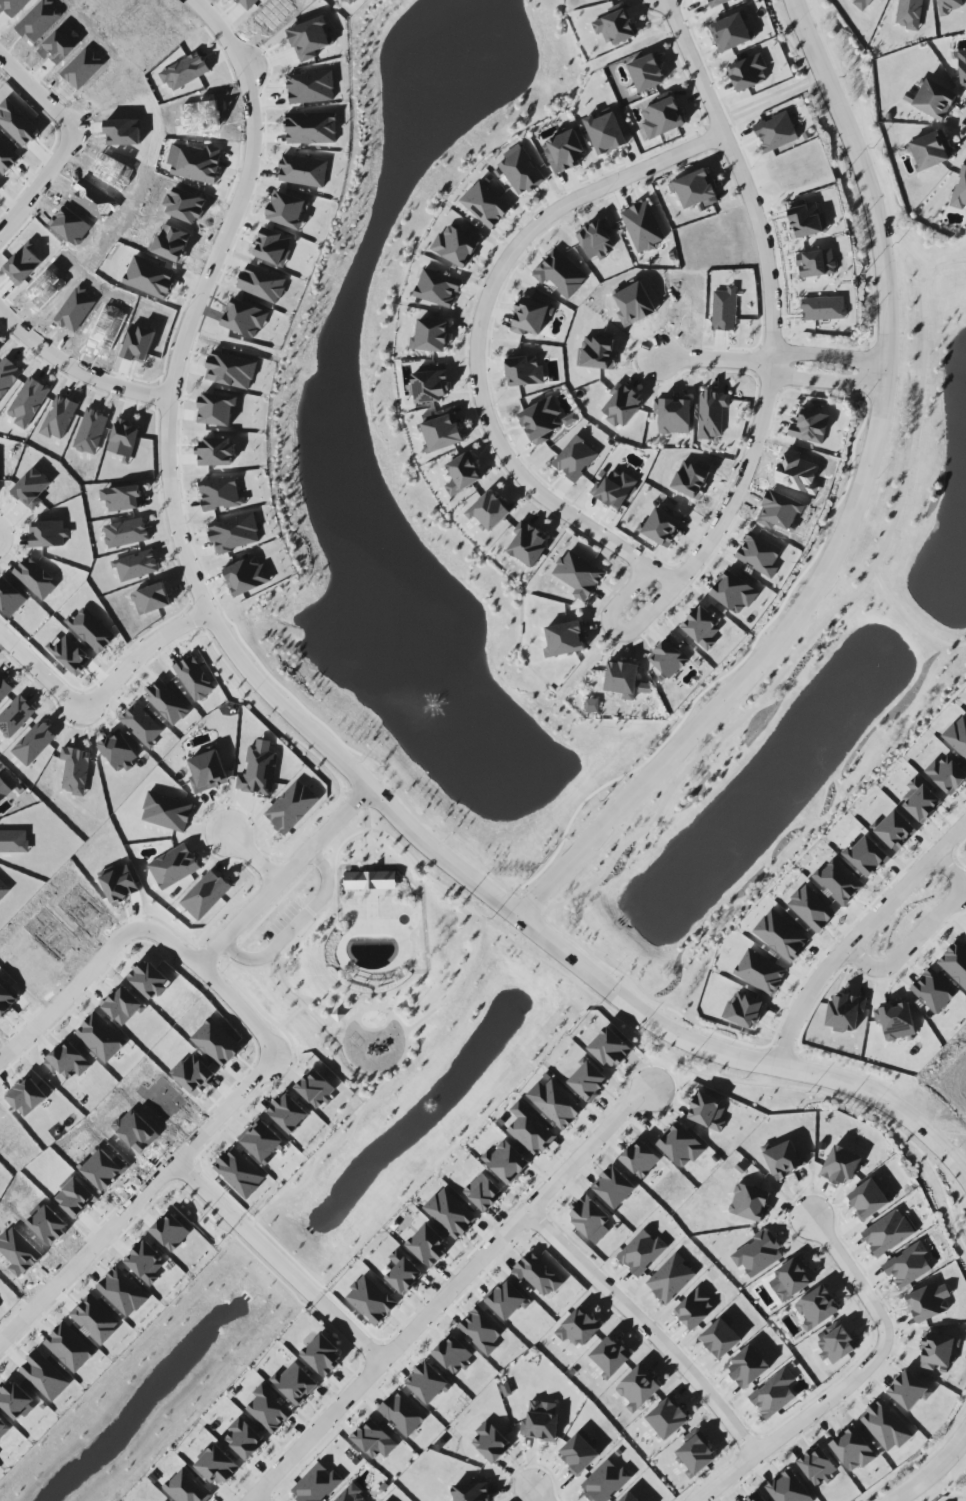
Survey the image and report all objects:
building: (717, 2)
building: (862, 4)
building: (949, 6)
building: (909, 13)
building: (616, 26)
building: (731, 32)
building: (311, 38)
building: (962, 67)
building: (185, 72)
building: (647, 72)
building: (748, 73)
building: (311, 87)
building: (932, 100)
building: (662, 117)
building: (17, 124)
building: (311, 128)
building: (776, 132)
building: (605, 133)
road: (866, 136)
road: (71, 144)
building: (930, 150)
building: (564, 151)
building: (7, 157)
building: (197, 164)
building: (303, 171)
building: (521, 171)
building: (695, 189)
building: (960, 190)
road: (244, 198)
building: (485, 204)
building: (807, 221)
building: (643, 227)
building: (596, 239)
building: (456, 245)
building: (816, 263)
building: (24, 264)
building: (560, 274)
building: (437, 288)
building: (724, 310)
building: (531, 316)
building: (245, 318)
building: (430, 336)
road: (477, 337)
road: (827, 358)
road: (712, 361)
building: (231, 370)
building: (524, 371)
road: (769, 374)
building: (8, 376)
building: (430, 384)
road: (823, 384)
building: (28, 402)
building: (217, 408)
road: (919, 408)
road: (168, 411)
building: (712, 414)
building: (673, 416)
building: (59, 418)
building: (541, 421)
building: (810, 427)
building: (442, 431)
building: (91, 432)
building: (123, 440)
building: (216, 452)
building: (575, 459)
building: (463, 474)
building: (32, 488)
building: (615, 489)
building: (220, 494)
building: (122, 498)
building: (490, 511)
road: (854, 511)
building: (663, 526)
building: (126, 533)
building: (234, 533)
building: (528, 545)
building: (759, 555)
building: (136, 566)
building: (578, 575)
building: (247, 576)
building: (35, 579)
building: (734, 592)
building: (10, 598)
building: (151, 599)
road: (909, 619)
building: (702, 627)
building: (91, 630)
building: (70, 655)
building: (668, 658)
building: (193, 679)
building: (622, 679)
building: (4, 689)
building: (167, 703)
park: (810, 704)
building: (15, 717)
building: (142, 725)
building: (957, 736)
building: (34, 743)
building: (119, 753)
building: (75, 770)
building: (259, 771)
building: (207, 772)
building: (946, 774)
road: (371, 789)
building: (3, 792)
building: (921, 800)
building: (167, 812)
road: (373, 830)
building: (896, 831)
road: (368, 833)
building: (13, 842)
road: (619, 853)
building: (867, 856)
road: (254, 857)
building: (174, 867)
building: (370, 880)
building: (839, 882)
building: (3, 890)
road: (306, 908)
parking lot: (285, 923)
road: (296, 926)
road: (920, 933)
road: (858, 937)
park: (370, 958)
building: (934, 991)
road: (373, 1002)
building: (124, 1006)
building: (845, 1012)
road: (336, 1017)
road: (647, 1021)
building: (895, 1021)
building: (609, 1048)
road: (401, 1060)
building: (68, 1061)
building: (588, 1081)
building: (315, 1089)
building: (27, 1097)
building: (555, 1103)
fountain: (430, 1107)
building: (707, 1111)
building: (288, 1113)
building: (530, 1130)
road: (204, 1140)
building: (261, 1140)
building: (681, 1146)
road: (322, 1153)
building: (640, 1159)
building: (785, 1160)
building: (506, 1162)
building: (840, 1166)
building: (240, 1173)
building: (614, 1187)
building: (483, 1192)
building: (868, 1199)
building: (750, 1202)
building: (450, 1213)
building: (589, 1217)
building: (171, 1232)
building: (888, 1233)
building: (427, 1246)
building: (641, 1253)
building: (759, 1254)
road: (86, 1257)
building: (145, 1262)
building: (908, 1265)
building: (403, 1273)
building: (537, 1275)
building: (671, 1278)
building: (792, 1279)
road: (852, 1280)
building: (123, 1292)
road: (450, 1294)
building: (370, 1300)
building: (507, 1301)
building: (928, 1302)
building: (816, 1308)
building: (694, 1309)
building: (96, 1319)
building: (578, 1328)
building: (482, 1330)
road: (347, 1331)
road: (646, 1331)
building: (721, 1337)
building: (837, 1345)
building: (453, 1355)
building: (323, 1356)
building: (610, 1357)
building: (748, 1367)
building: (45, 1376)
building: (296, 1383)
building: (427, 1383)
building: (638, 1389)
building: (909, 1390)
building: (774, 1394)
building: (268, 1409)
building: (403, 1413)
building: (667, 1418)
building: (539, 1424)
building: (2, 1426)
road: (798, 1426)
building: (885, 1426)
building: (244, 1439)
building: (374, 1440)
building: (490, 1443)
building: (853, 1450)
building: (579, 1453)
building: (695, 1456)
building: (217, 1465)
building: (818, 1467)
road: (934, 1472)
building: (606, 1482)
building: (317, 1484)
building: (186, 1488)
building: (788, 1488)
building: (471, 1492)
building: (350, 1495)
road: (536, 1496)
building: (629, 1497)
building: (757, 1498)

